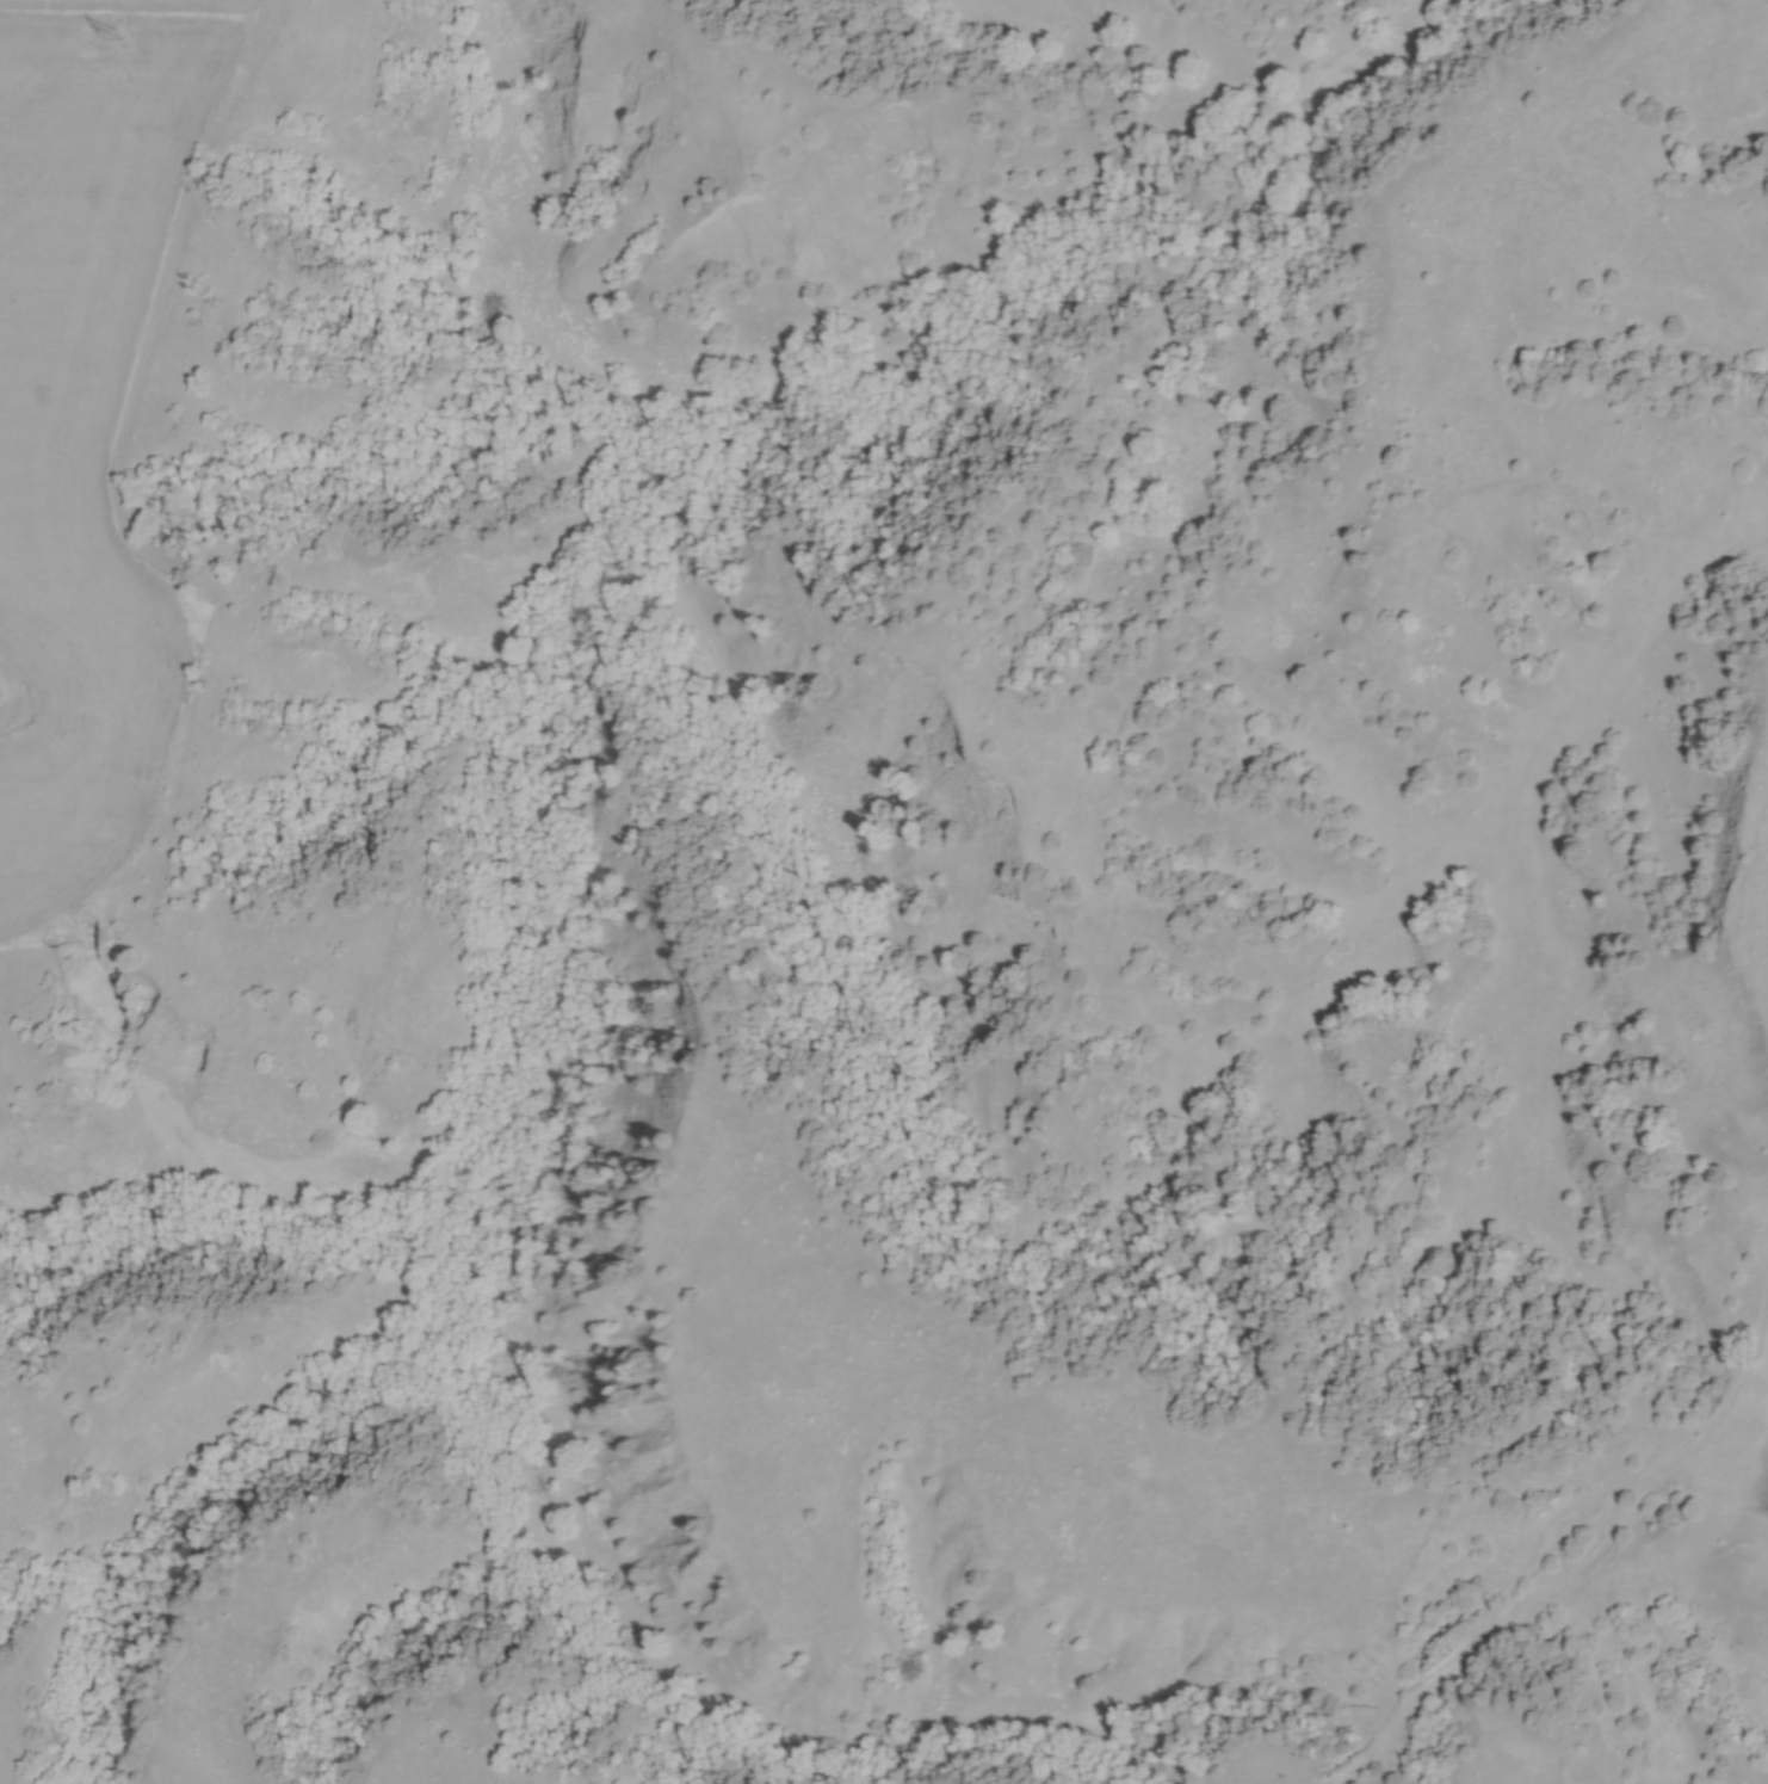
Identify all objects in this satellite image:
power tower: (119, 37)

